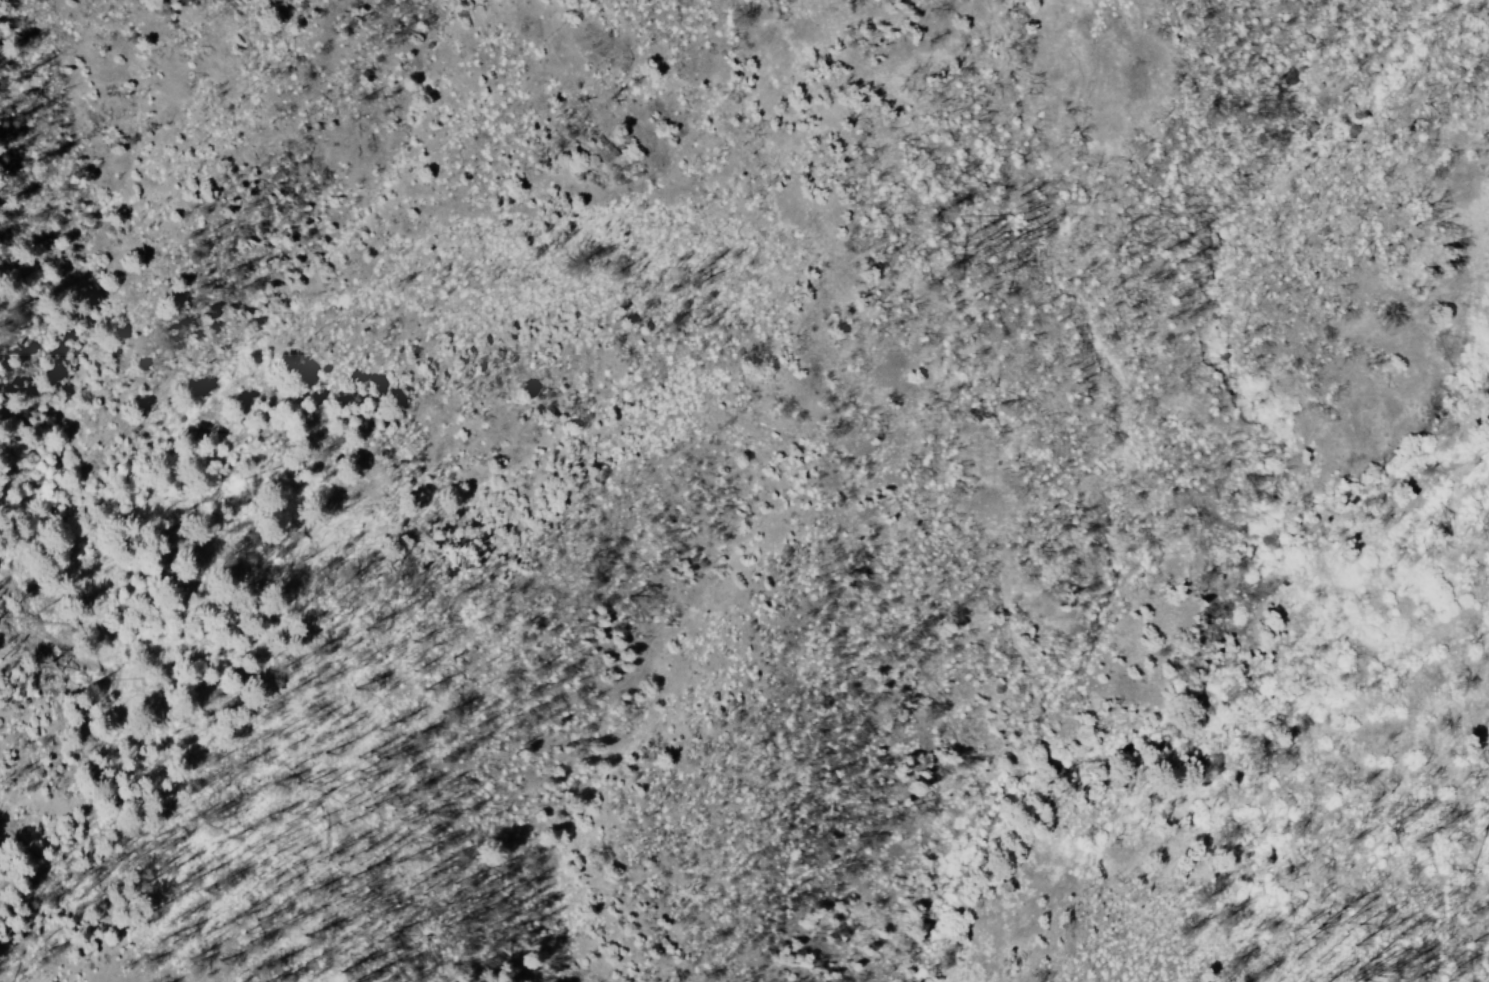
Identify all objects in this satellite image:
road: (604, 978)

